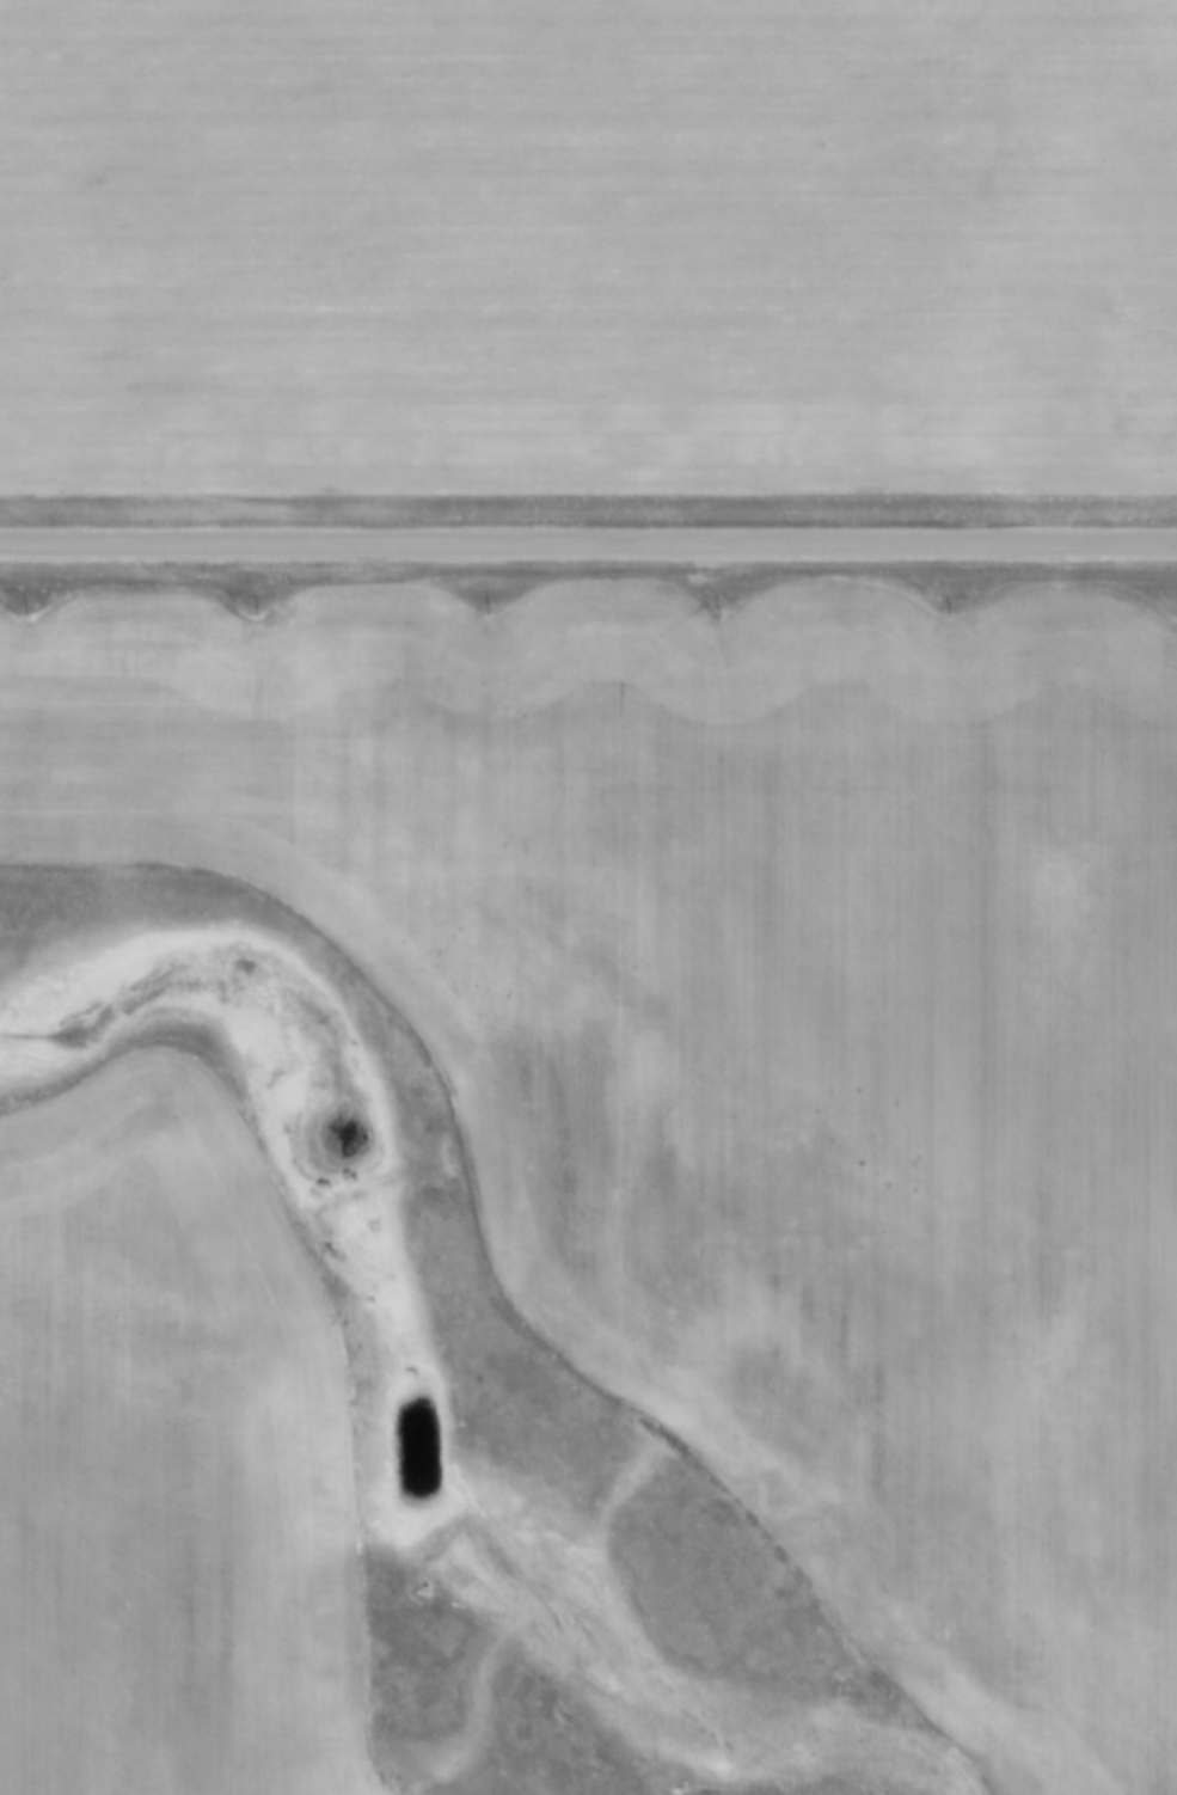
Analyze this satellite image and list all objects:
road: (588, 549)

